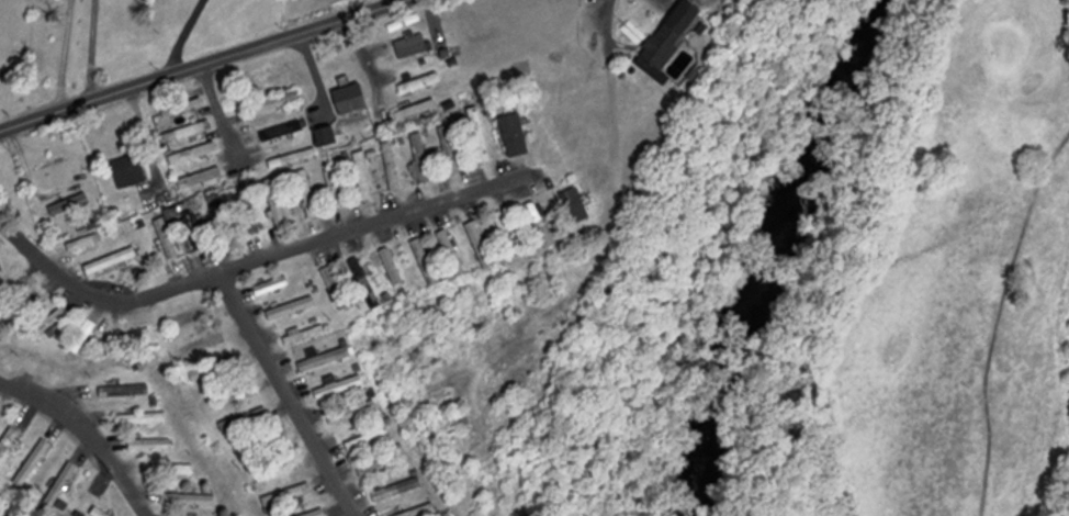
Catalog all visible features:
road: (189, 33)
building: (669, 36)
building: (412, 45)
road: (94, 49)
road: (67, 54)
road: (367, 58)
road: (205, 65)
building: (677, 67)
road: (317, 69)
building: (420, 85)
building: (351, 99)
building: (275, 104)
building: (184, 109)
building: (417, 110)
road: (223, 114)
building: (189, 132)
building: (283, 132)
building: (326, 135)
building: (480, 135)
building: (515, 135)
building: (450, 149)
building: (201, 152)
building: (293, 159)
building: (392, 166)
building: (130, 171)
building: (363, 176)
building: (201, 179)
building: (334, 189)
building: (307, 194)
road: (617, 200)
building: (277, 203)
building: (572, 204)
building: (247, 214)
building: (223, 224)
building: (193, 229)
building: (167, 238)
building: (85, 243)
river: (776, 248)
building: (453, 251)
building: (111, 261)
road: (258, 261)
building: (425, 261)
building: (392, 266)
building: (1, 267)
building: (365, 283)
park: (948, 284)
building: (272, 288)
building: (336, 288)
building: (570, 304)
building: (292, 309)
building: (50, 322)
building: (83, 335)
building: (305, 335)
building: (325, 360)
building: (213, 370)
building: (339, 388)
building: (235, 390)
building: (124, 392)
road: (289, 394)
building: (353, 413)
building: (142, 419)
building: (244, 420)
road: (89, 433)
building: (368, 440)
building: (9, 444)
building: (150, 446)
building: (34, 464)
building: (378, 465)
building: (184, 470)
building: (274, 470)
building: (61, 484)
building: (397, 490)
building: (286, 495)
building: (189, 500)
building: (420, 509)
building: (99, 513)
building: (316, 513)

